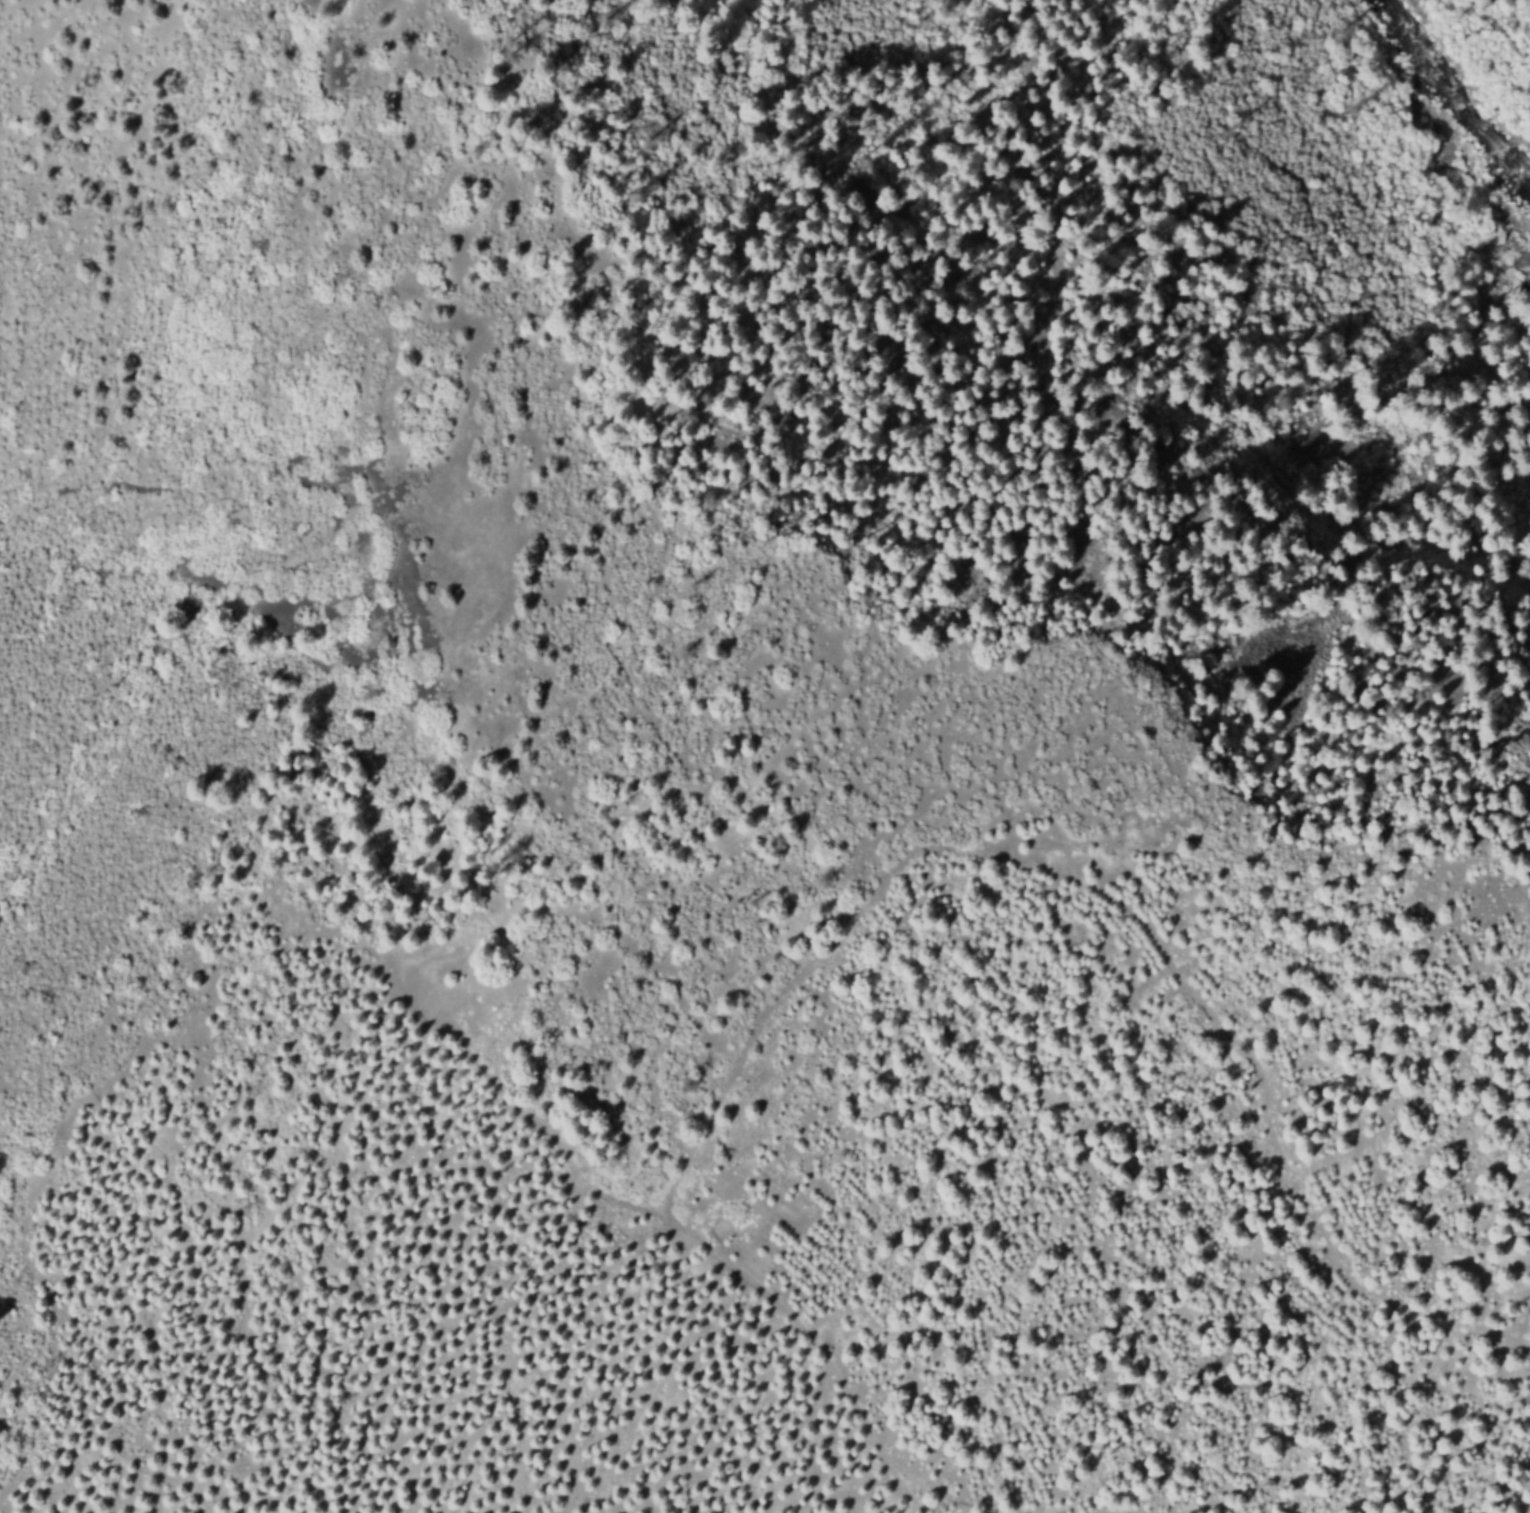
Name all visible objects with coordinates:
river: (1447, 104)

